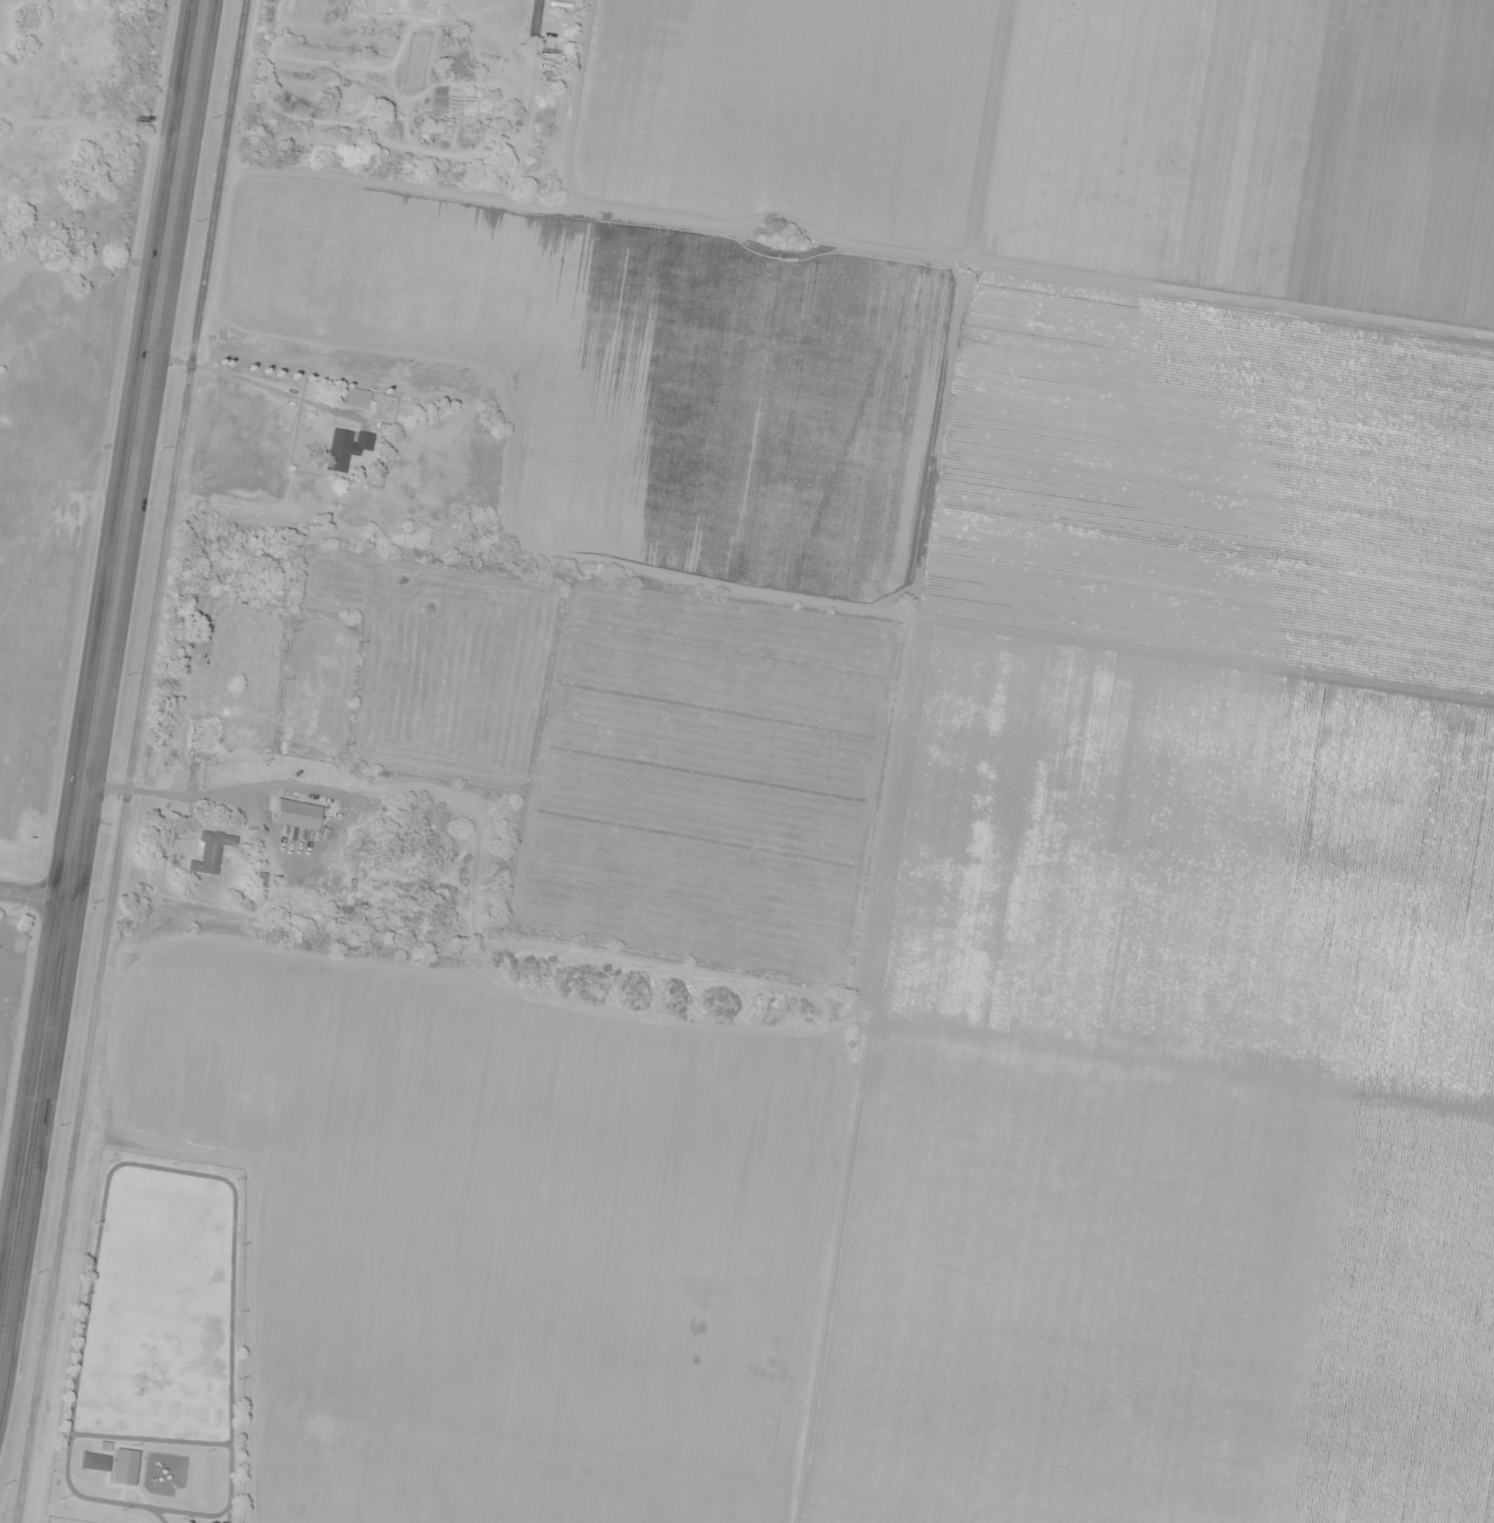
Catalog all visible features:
road: (537, 18)
building: (358, 399)
building: (352, 447)
road: (105, 683)
building: (191, 685)
railway: (130, 761)
building: (296, 814)
building: (211, 850)
road: (34, 915)
building: (95, 1461)
building: (124, 1466)

